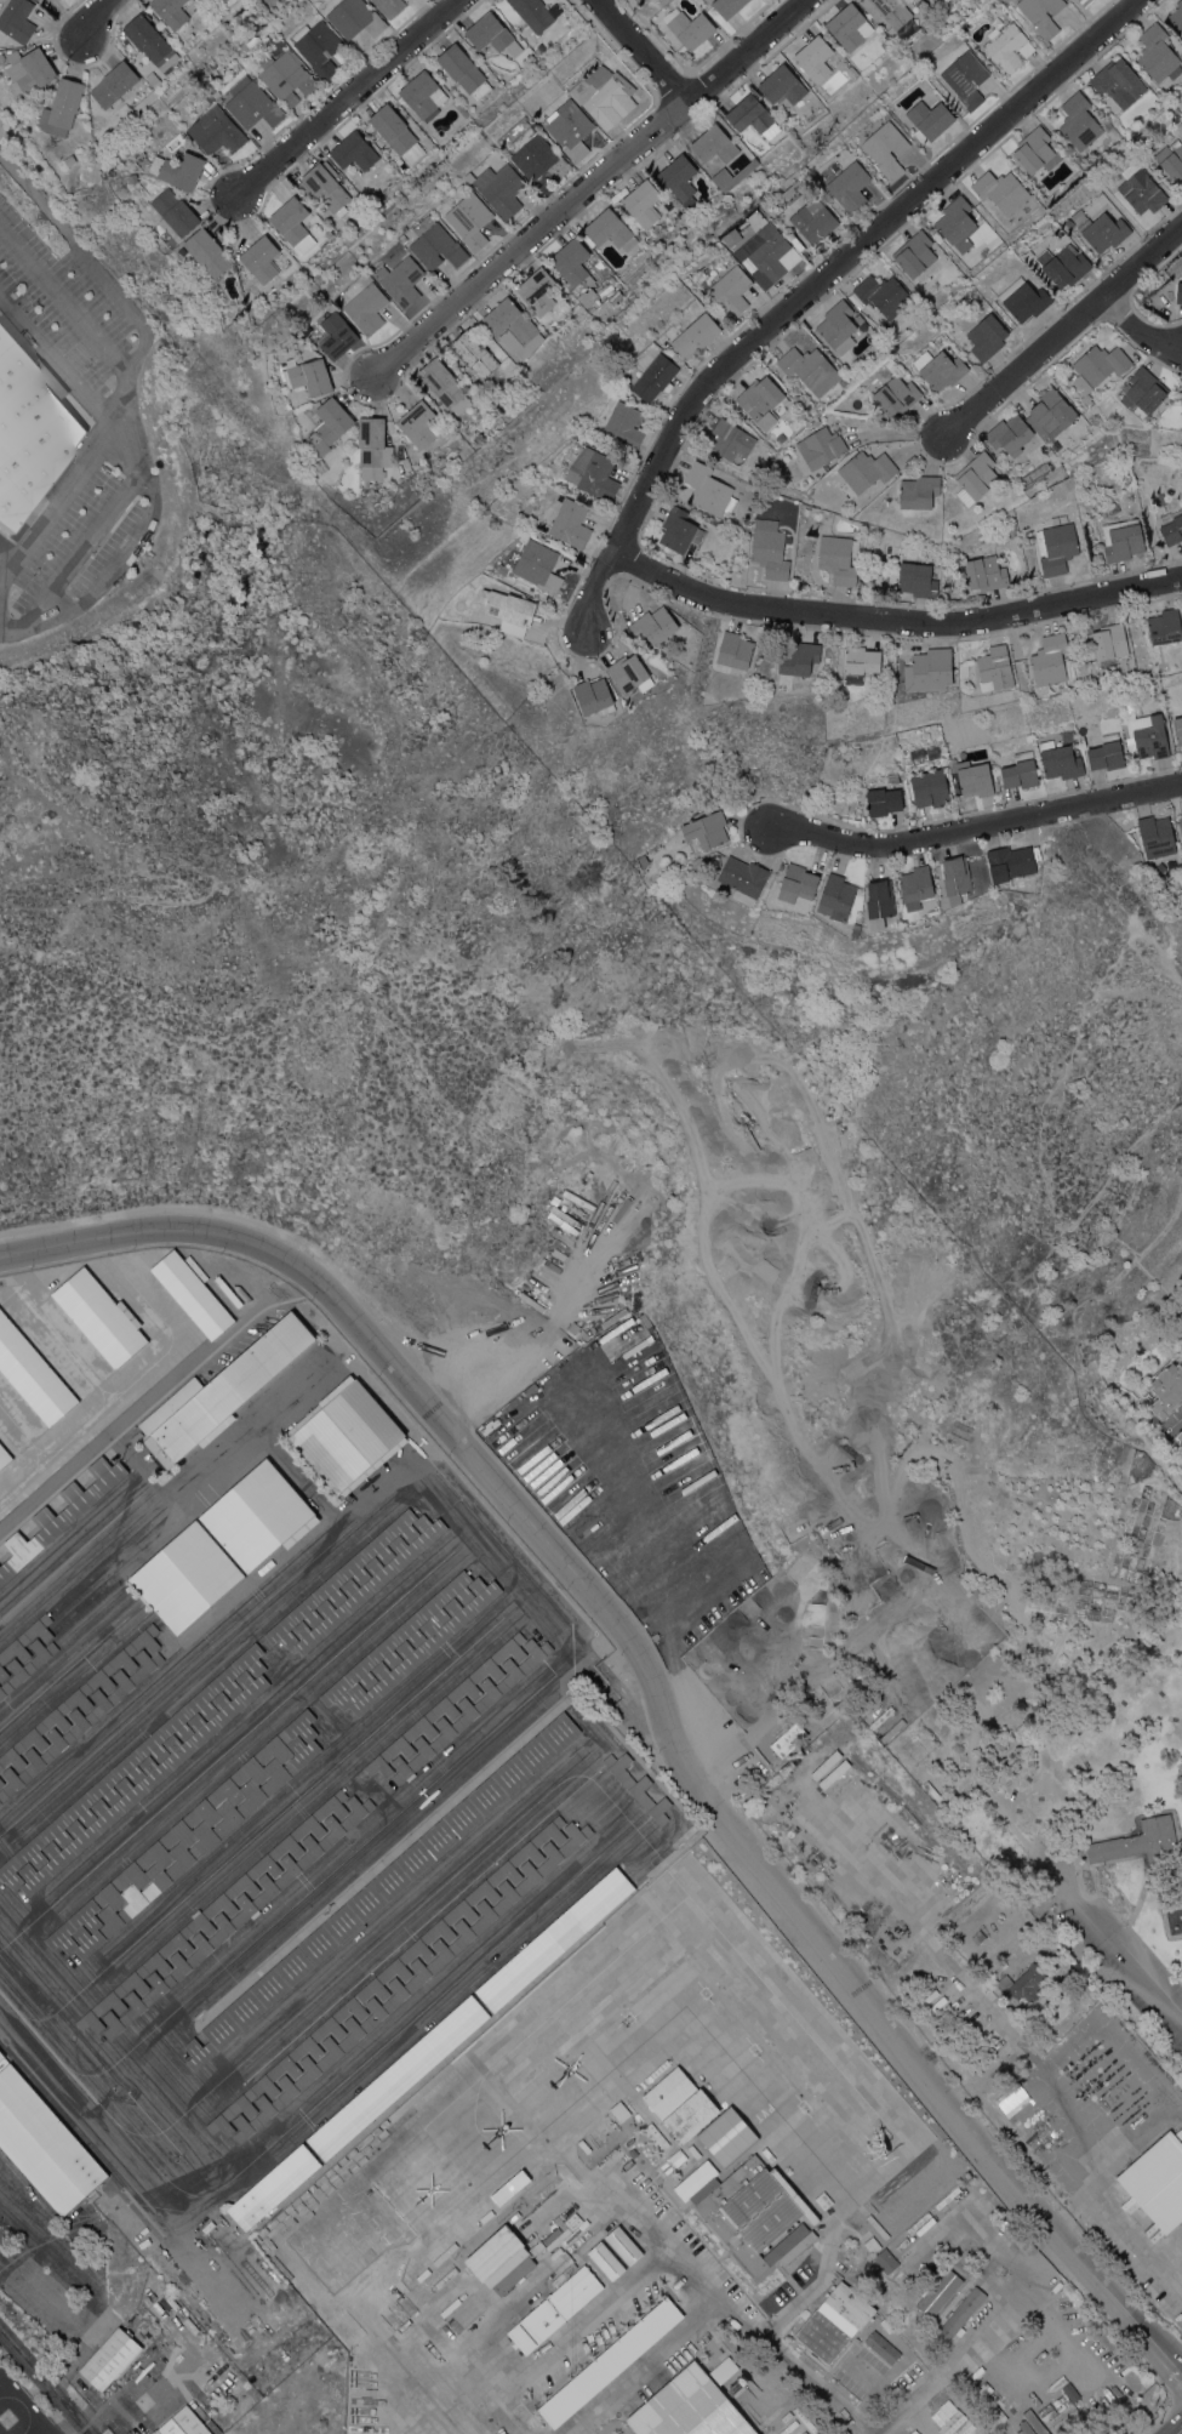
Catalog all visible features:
building: (35, 0)
building: (640, 0)
building: (225, 1)
building: (1085, 2)
building: (389, 6)
building: (727, 6)
building: (170, 11)
building: (887, 11)
building: (1041, 15)
building: (1177, 15)
building: (532, 16)
building: (16, 18)
road: (86, 18)
building: (355, 18)
building: (849, 25)
building: (689, 27)
building: (490, 33)
building: (150, 41)
building: (1007, 46)
building: (319, 47)
road: (641, 52)
building: (1158, 53)
building: (813, 57)
building: (27, 69)
building: (463, 70)
building: (286, 76)
building: (965, 79)
building: (1118, 81)
building: (113, 84)
building: (782, 85)
building: (422, 95)
building: (604, 101)
building: (253, 103)
road: (337, 103)
building: (62, 107)
building: (23, 110)
building: (13, 114)
building: (752, 115)
building: (929, 120)
building: (1078, 121)
building: (217, 131)
building: (571, 131)
building: (396, 133)
building: (885, 148)
building: (354, 150)
building: (1035, 150)
building: (536, 155)
building: (719, 155)
building: (68, 160)
building: (1171, 160)
building: (183, 170)
building: (135, 177)
building: (679, 179)
building: (1108, 184)
building: (325, 187)
building: (849, 187)
road: (589, 188)
building: (501, 189)
building: (1000, 190)
building: (1142, 192)
building: (643, 203)
building: (176, 211)
building: (469, 220)
building: (813, 220)
building: (292, 223)
building: (957, 223)
building: (1101, 228)
building: (607, 230)
building: (327, 234)
building: (402, 238)
building: (436, 245)
building: (767, 249)
building: (207, 251)
building: (918, 257)
building: (259, 258)
building: (279, 260)
building: (572, 263)
building: (1062, 266)
building: (401, 281)
road: (811, 284)
building: (537, 291)
building: (731, 291)
building: (1178, 292)
building: (883, 295)
building: (588, 298)
building: (1023, 298)
road: (65, 302)
building: (366, 308)
building: (857, 319)
building: (838, 326)
building: (513, 327)
road: (1137, 330)
building: (337, 335)
building: (696, 335)
road: (1055, 335)
building: (987, 337)
building: (473, 353)
building: (1100, 364)
building: (806, 365)
building: (940, 369)
building: (307, 376)
building: (653, 377)
building: (441, 382)
building: (1143, 392)
building: (896, 395)
building: (1181, 398)
building: (763, 401)
building: (1052, 411)
road: (119, 412)
building: (329, 424)
building: (418, 424)
building: (781, 424)
building: (29, 426)
building: (623, 427)
building: (1009, 433)
building: (730, 439)
building: (820, 446)
building: (372, 449)
road: (126, 452)
building: (405, 461)
building: (866, 469)
building: (593, 473)
building: (976, 478)
building: (709, 490)
building: (919, 491)
building: (1158, 502)
road: (57, 503)
building: (1110, 509)
building: (570, 524)
building: (1171, 526)
building: (680, 530)
building: (1121, 540)
building: (1056, 547)
building: (769, 549)
road: (76, 557)
building: (838, 558)
road: (114, 563)
building: (538, 565)
building: (502, 570)
building: (984, 572)
building: (917, 580)
building: (508, 610)
road: (4, 614)
road: (892, 619)
building: (653, 625)
building: (1165, 626)
road: (4, 631)
building: (1109, 644)
building: (735, 650)
building: (798, 657)
building: (1049, 660)
building: (861, 663)
building: (994, 668)
building: (929, 671)
building: (629, 674)
building: (594, 696)
building: (1113, 708)
building: (1177, 729)
building: (1148, 735)
building: (1106, 752)
building: (1060, 759)
building: (1020, 770)
building: (972, 777)
building: (930, 788)
building: (883, 800)
building: (1180, 823)
road: (969, 827)
building: (706, 830)
building: (1155, 836)
building: (657, 854)
building: (1015, 860)
building: (955, 874)
building: (743, 876)
building: (796, 883)
building: (917, 883)
building: (836, 896)
building: (879, 902)
building: (856, 929)
airport hangar: (192, 1293)
building: (192, 1293)
airport hangar: (99, 1317)
building: (99, 1317)
airport hangar: (32, 1373)
building: (32, 1373)
airport apron: (96, 1373)
building: (1166, 1390)
airport hangar: (221, 1391)
building: (221, 1391)
road: (1180, 1419)
building: (1180, 1435)
building: (347, 1436)
airport hangar: (4, 1455)
building: (4, 1455)
airport hangar: (59, 1515)
building: (59, 1515)
airport hangar: (256, 1516)
building: (256, 1516)
airport hangar: (184, 1575)
building: (184, 1575)
airport hangar: (355, 1580)
building: (355, 1580)
airport hangar: (396, 1640)
building: (396, 1640)
airport hangar: (24, 1641)
building: (24, 1641)
airport hangar: (422, 1644)
building: (422, 1644)
park: (1016, 1644)
airport hangar: (27, 1664)
building: (27, 1664)
road: (656, 1692)
airport hangar: (80, 1695)
building: (80, 1695)
airport hangar: (446, 1705)
building: (446, 1705)
building: (578, 1705)
airport hangar: (469, 1709)
building: (469, 1709)
building: (818, 1709)
airport hangar: (79, 1722)
building: (79, 1722)
building: (788, 1739)
airport hangar: (132, 1762)
building: (132, 1762)
airport hangar: (1, 1782)
building: (1, 1782)
airport hangar: (142, 1782)
building: (142, 1782)
airport hangar: (636, 1786)
building: (636, 1786)
airport apron: (280, 1806)
airport: (253, 1811)
airport hangar: (188, 1837)
building: (188, 1837)
building: (1141, 1843)
airport hangar: (382, 1887)
building: (382, 1887)
airport hangar: (213, 1911)
building: (213, 1911)
airport hangar: (236, 1915)
building: (236, 1915)
building: (977, 1937)
airport hangar: (554, 1938)
building: (554, 1938)
road: (1110, 1946)
airport hangar: (387, 1976)
building: (387, 1976)
airport hangar: (410, 1980)
building: (410, 1980)
building: (1024, 1983)
helipad: (669, 2036)
airport hangar: (398, 2077)
building: (398, 2077)
building: (681, 2104)
road: (1129, 2142)
airport hangar: (44, 2143)
building: (44, 2143)
building: (695, 2164)
building: (1158, 2181)
airport hangar: (273, 2187)
building: (273, 2187)
building: (509, 2187)
road: (35, 2206)
building: (752, 2212)
parking lot: (21, 2213)
road: (1118, 2219)
road: (28, 2234)
building: (623, 2244)
road: (1169, 2248)
building: (501, 2259)
building: (606, 2261)
road: (657, 2261)
building: (885, 2261)
building: (29, 2265)
building: (576, 2290)
building: (938, 2290)
building: (16, 2295)
building: (957, 2318)
building: (81, 2320)
building: (834, 2321)
building: (45, 2322)
building: (112, 2324)
building: (536, 2326)
road: (976, 2344)
building: (881, 2347)
building: (88, 2350)
building: (109, 2359)
road: (787, 2360)
road: (395, 2365)
road: (42, 2384)
building: (689, 2407)
building: (949, 2419)
building: (184, 2423)
building: (154, 2432)

